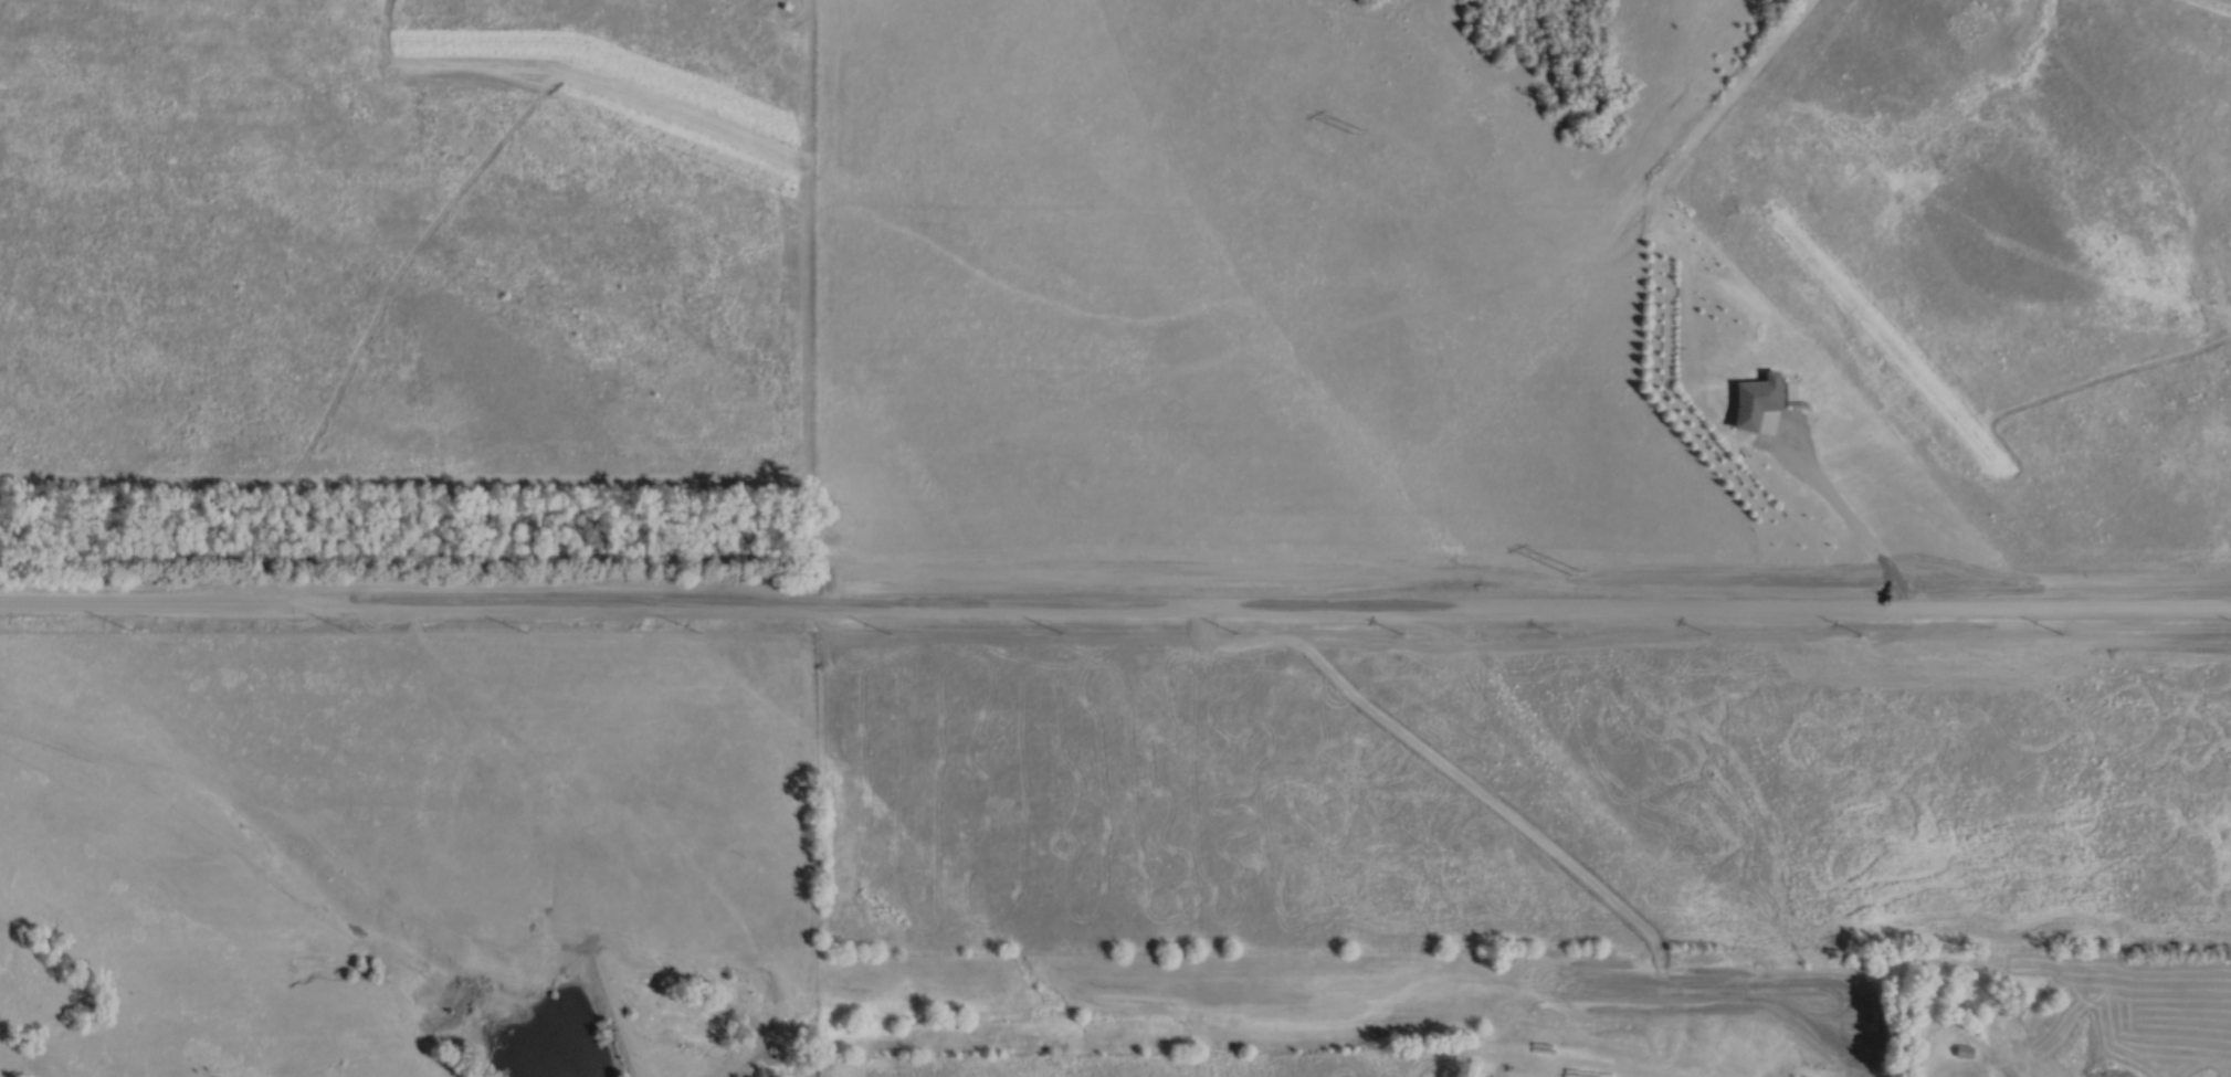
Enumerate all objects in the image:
power tower: (1361, 130)
power tower: (1582, 577)
road: (1115, 610)

